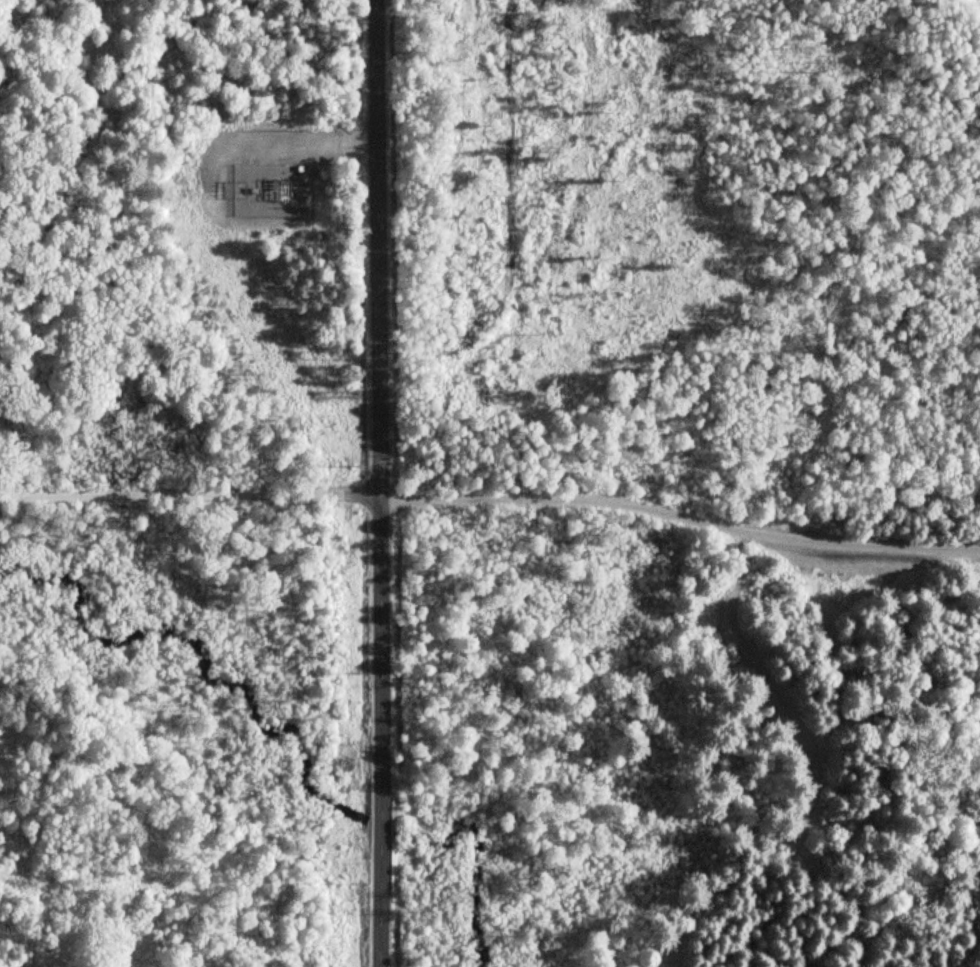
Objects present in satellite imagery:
power substation: (267, 189)
road: (381, 483)
road: (190, 495)
road: (680, 517)
road: (968, 535)

